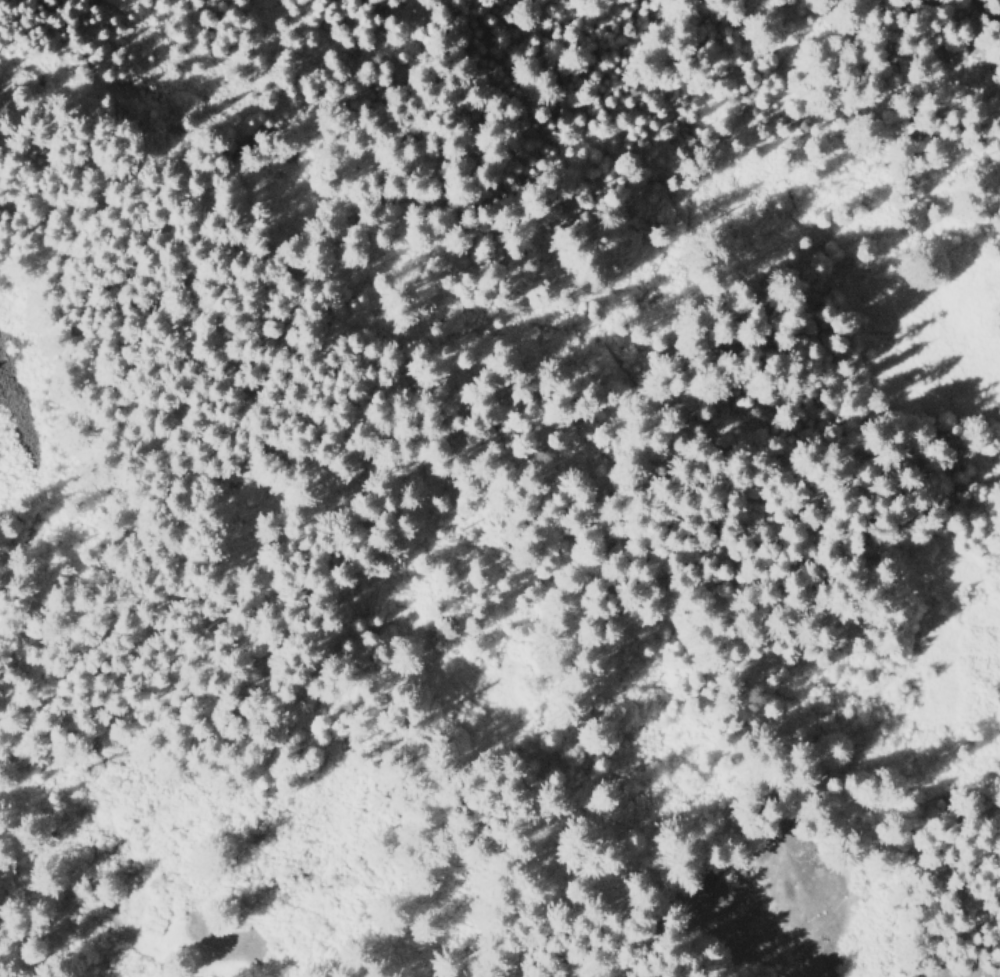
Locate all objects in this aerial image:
road: (994, 4)
road: (311, 207)

